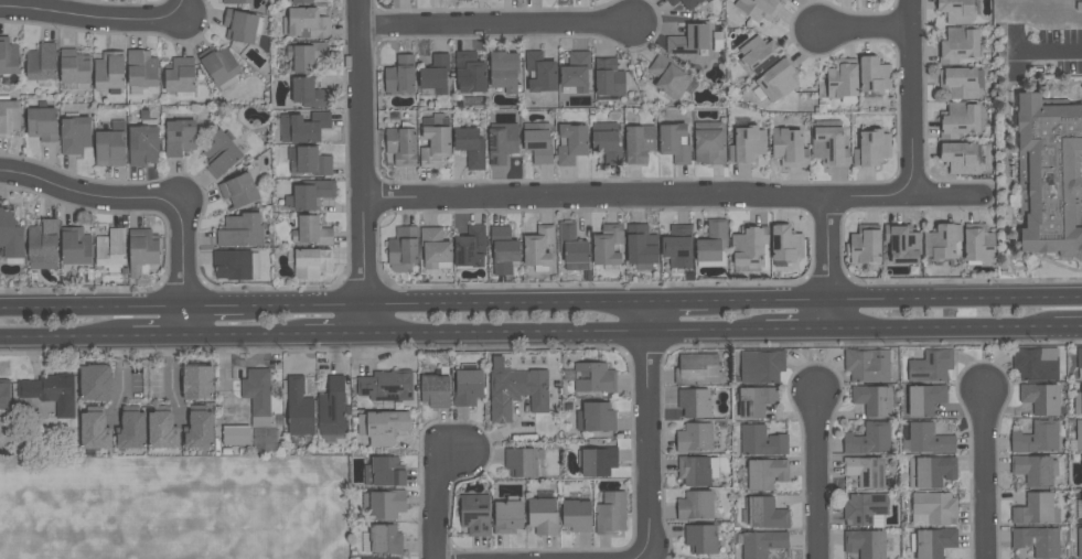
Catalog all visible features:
building: (459, 0)
building: (782, 0)
building: (784, 0)
building: (300, 1)
building: (707, 1)
building: (236, 2)
building: (685, 3)
building: (759, 9)
building: (958, 10)
road: (104, 21)
building: (306, 23)
road: (494, 23)
building: (242, 25)
road: (865, 26)
building: (689, 40)
building: (957, 45)
road: (1048, 50)
parking lot: (1071, 51)
building: (759, 54)
building: (306, 55)
building: (9, 56)
building: (42, 64)
building: (74, 66)
building: (219, 67)
building: (503, 71)
building: (109, 72)
building: (141, 72)
building: (539, 72)
building: (470, 73)
building: (575, 73)
building: (436, 74)
building: (400, 75)
building: (874, 75)
building: (180, 77)
building: (608, 77)
building: (668, 77)
building: (843, 80)
building: (775, 82)
building: (961, 82)
building: (310, 93)
road: (911, 98)
building: (8, 116)
building: (958, 120)
building: (42, 123)
building: (303, 127)
building: (75, 135)
building: (179, 137)
building: (435, 140)
building: (607, 141)
building: (502, 142)
building: (537, 142)
building: (747, 142)
building: (143, 143)
building: (571, 143)
building: (639, 143)
building: (674, 143)
building: (708, 143)
building: (829, 143)
building: (401, 144)
building: (110, 146)
building: (470, 146)
building: (789, 148)
building: (871, 148)
building: (221, 153)
building: (958, 158)
building: (308, 161)
road: (362, 168)
building: (1049, 175)
building: (238, 191)
building: (309, 194)
road: (671, 194)
road: (104, 200)
building: (240, 230)
building: (311, 230)
building: (11, 236)
building: (942, 241)
building: (902, 243)
building: (42, 245)
building: (713, 245)
building: (785, 245)
building: (864, 245)
building: (978, 245)
building: (76, 246)
building: (607, 246)
building: (641, 246)
building: (470, 247)
building: (572, 247)
building: (677, 247)
building: (436, 248)
building: (538, 248)
building: (748, 248)
building: (403, 249)
building: (111, 250)
building: (503, 250)
building: (142, 251)
building: (311, 262)
building: (235, 265)
road: (831, 265)
road: (184, 284)
road: (896, 305)
road: (678, 307)
road: (444, 308)
road: (214, 310)
road: (92, 311)
road: (1068, 329)
road: (943, 331)
road: (799, 332)
road: (566, 333)
road: (334, 335)
road: (244, 336)
road: (152, 337)
road: (61, 338)
building: (1079, 361)
building: (1035, 363)
building: (868, 365)
building: (931, 365)
building: (761, 366)
building: (696, 369)
building: (593, 377)
building: (195, 381)
building: (95, 383)
building: (386, 386)
building: (468, 387)
building: (436, 389)
building: (515, 390)
building: (51, 393)
building: (4, 395)
building: (257, 395)
building: (1040, 398)
building: (874, 399)
building: (922, 399)
building: (756, 401)
building: (694, 402)
building: (1078, 402)
building: (332, 407)
building: (298, 408)
building: (596, 417)
building: (383, 426)
building: (161, 428)
building: (199, 428)
building: (94, 429)
building: (130, 429)
road: (650, 432)
building: (236, 434)
building: (1079, 436)
building: (695, 438)
building: (1036, 438)
building: (868, 439)
building: (926, 440)
building: (761, 441)
building: (598, 461)
building: (523, 463)
building: (697, 470)
building: (1035, 470)
building: (865, 471)
building: (930, 471)
building: (384, 472)
building: (765, 473)
road: (986, 476)
road: (818, 479)
road: (440, 494)
building: (385, 504)
building: (695, 505)
building: (934, 508)
building: (866, 509)
building: (1036, 509)
building: (1079, 512)
building: (610, 513)
building: (765, 513)
building: (475, 514)
building: (577, 515)
building: (507, 516)
building: (543, 516)
building: (700, 538)
building: (382, 539)
building: (1038, 540)
building: (932, 541)
building: (762, 542)
building: (865, 544)
building: (1079, 544)
building: (381, 558)

